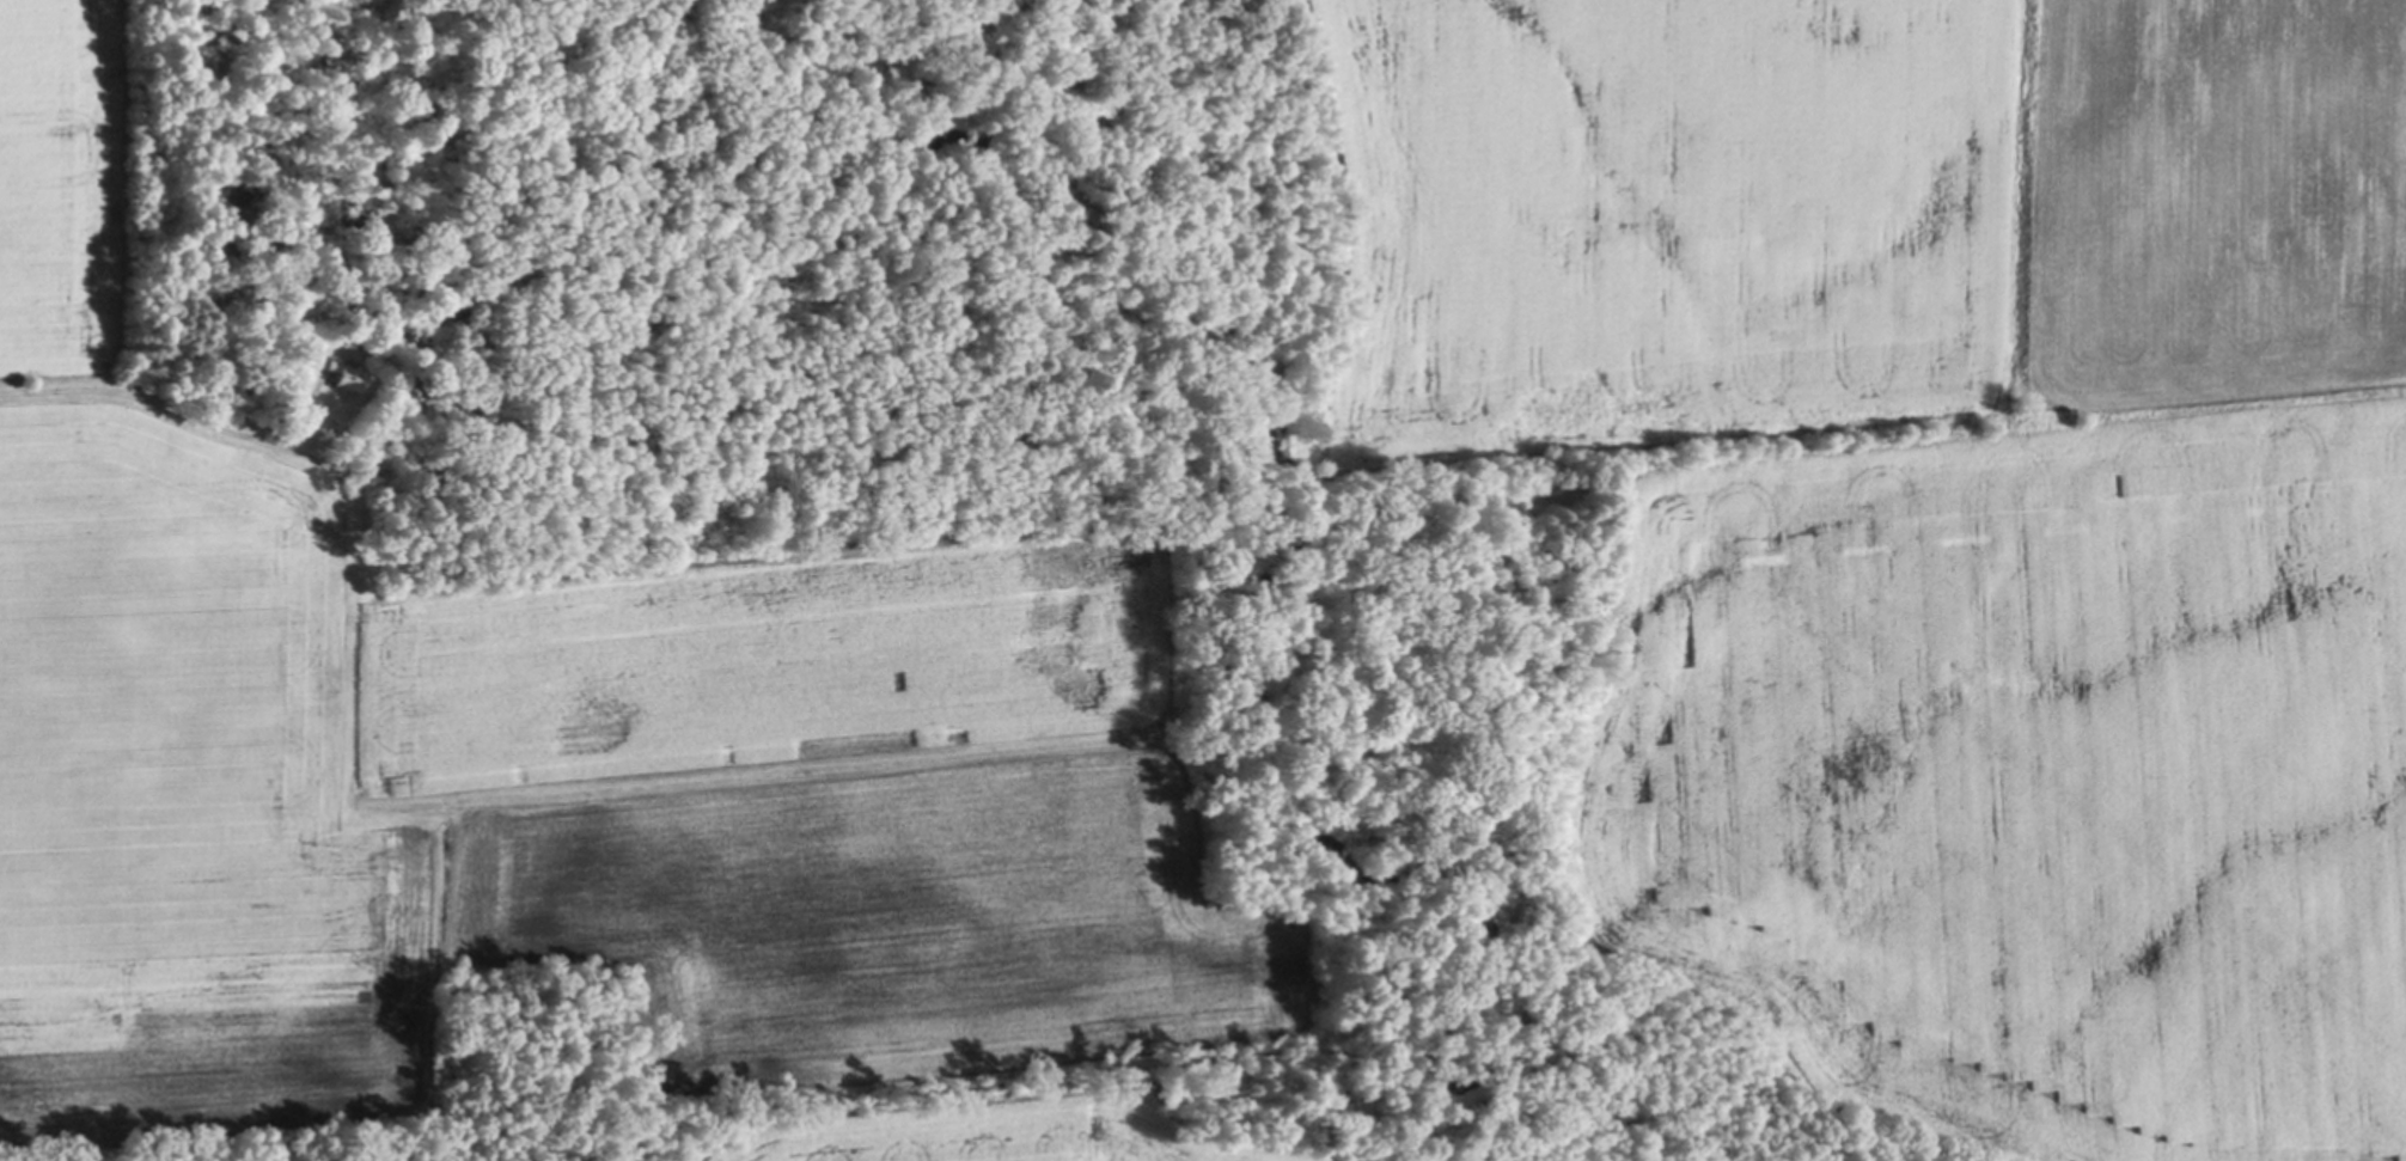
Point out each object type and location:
building: (347, 379)
crop: (1948, 519)
crop: (561, 774)

